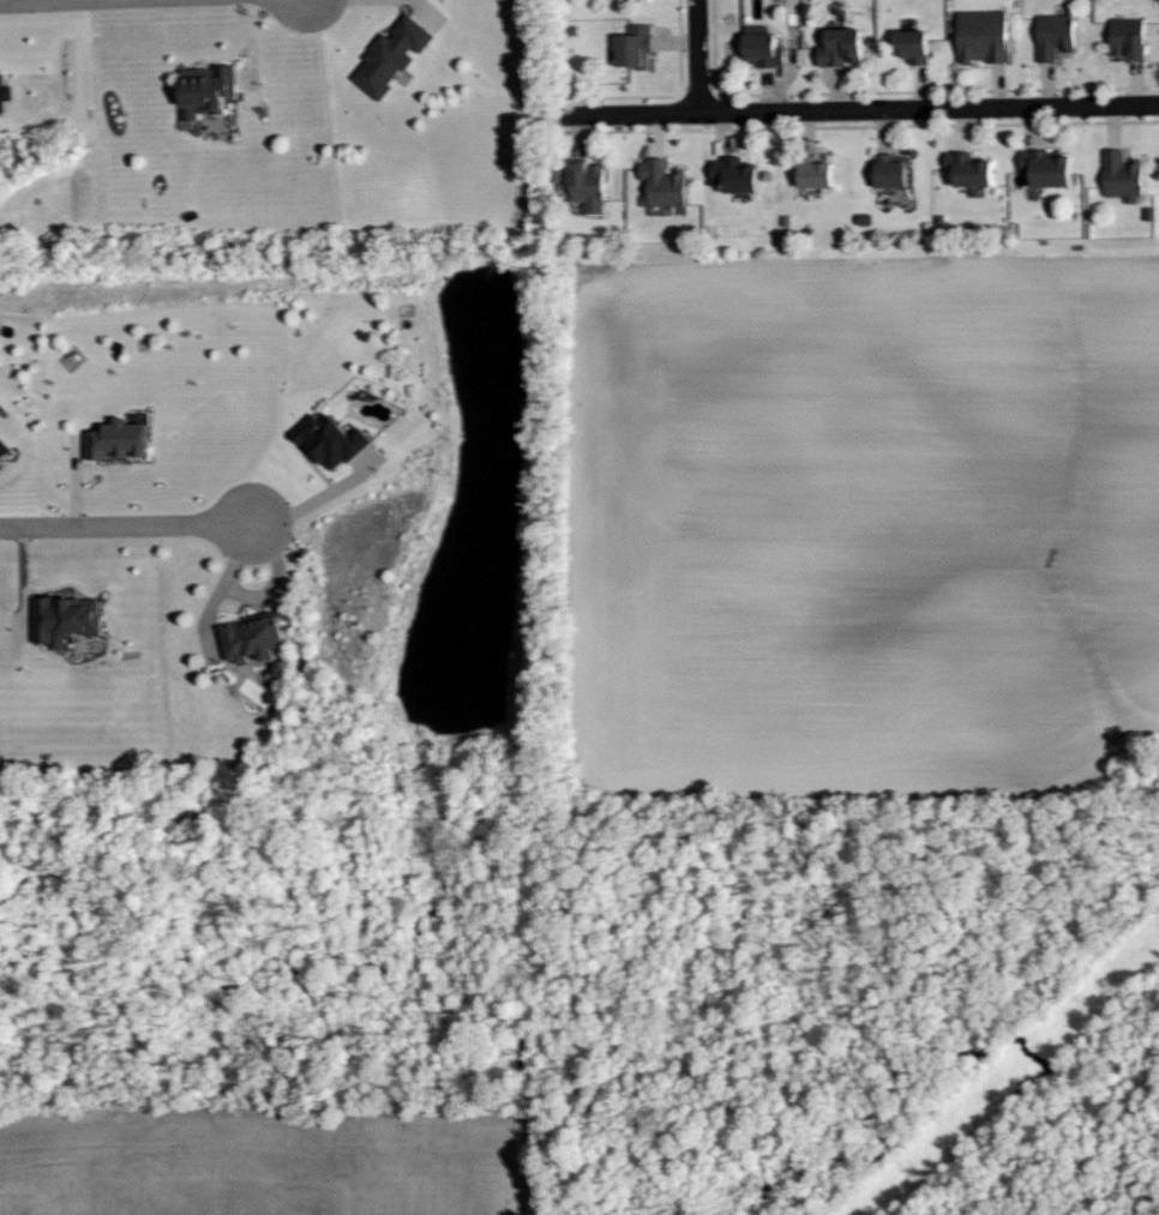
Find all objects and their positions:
road: (42, 1)
building: (984, 36)
building: (1055, 36)
building: (1128, 37)
building: (913, 46)
building: (635, 47)
building: (762, 47)
building: (841, 47)
building: (392, 56)
road: (697, 56)
building: (206, 90)
building: (5, 91)
road: (860, 110)
building: (969, 169)
building: (1047, 169)
building: (893, 170)
building: (816, 173)
building: (735, 174)
building: (1122, 176)
building: (588, 185)
building: (119, 440)
building: (331, 440)
building: (4, 449)
road: (314, 498)
road: (128, 527)
road: (209, 608)
building: (66, 619)
building: (257, 637)

